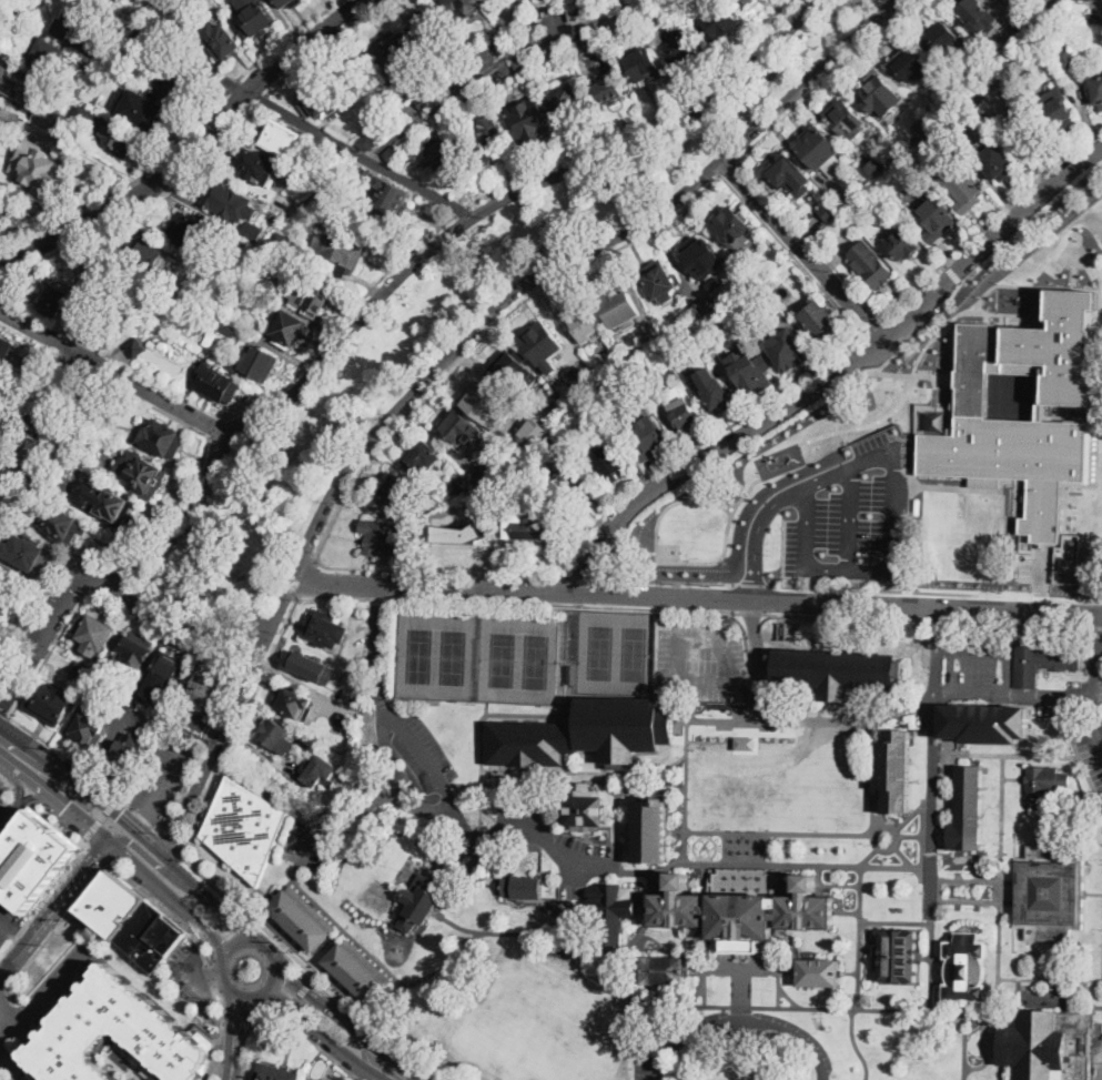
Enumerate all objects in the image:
building: (117, 0)
building: (1007, 0)
building: (1088, 0)
building: (172, 2)
building: (290, 2)
building: (745, 2)
park: (2, 3)
building: (680, 4)
building: (461, 8)
road: (16, 13)
building: (973, 14)
building: (654, 18)
building: (1095, 19)
building: (256, 20)
building: (719, 20)
building: (172, 22)
building: (1021, 22)
building: (532, 24)
building: (156, 26)
building: (429, 30)
building: (79, 33)
road: (285, 38)
building: (941, 39)
building: (222, 40)
road: (326, 44)
building: (501, 44)
building: (593, 46)
building: (680, 47)
building: (138, 48)
building: (560, 52)
building: (392, 55)
building: (1066, 55)
building: (47, 57)
building: (1047, 58)
building: (533, 60)
building: (907, 63)
road: (495, 64)
building: (643, 64)
building: (131, 65)
building: (523, 65)
building: (90, 68)
building: (984, 69)
road: (827, 78)
building: (994, 78)
road: (231, 82)
building: (20, 84)
building: (175, 84)
building: (609, 90)
building: (873, 90)
building: (1096, 90)
building: (94, 98)
road: (260, 99)
building: (324, 99)
building: (426, 100)
building: (1001, 100)
building: (566, 101)
building: (978, 101)
road: (276, 109)
building: (142, 110)
building: (936, 112)
building: (1056, 113)
building: (9, 117)
building: (44, 117)
building: (958, 119)
building: (528, 120)
building: (845, 120)
building: (94, 122)
road: (648, 123)
building: (922, 127)
building: (2, 133)
building: (487, 133)
building: (71, 135)
building: (933, 138)
building: (118, 139)
building: (282, 139)
building: (909, 139)
building: (368, 141)
road: (196, 151)
building: (822, 152)
building: (394, 154)
building: (444, 158)
building: (997, 162)
building: (336, 164)
building: (257, 165)
road: (731, 165)
building: (38, 168)
building: (876, 168)
building: (364, 175)
building: (789, 176)
road: (124, 183)
building: (317, 183)
building: (0, 189)
building: (963, 189)
building: (391, 198)
building: (847, 200)
building: (229, 201)
building: (281, 201)
building: (291, 208)
road: (464, 209)
road: (138, 210)
building: (3, 211)
building: (830, 211)
building: (937, 219)
road: (988, 221)
building: (731, 229)
building: (189, 231)
building: (253, 232)
road: (811, 239)
building: (282, 242)
building: (901, 244)
road: (803, 248)
building: (342, 250)
road: (793, 255)
building: (153, 256)
road: (417, 260)
building: (702, 260)
road: (564, 261)
building: (219, 263)
building: (871, 264)
road: (953, 271)
building: (101, 279)
building: (659, 282)
building: (783, 293)
building: (309, 296)
building: (54, 301)
building: (232, 302)
building: (711, 303)
building: (620, 307)
building: (731, 307)
building: (704, 309)
building: (696, 313)
road: (341, 320)
building: (584, 323)
building: (820, 323)
building: (225, 327)
building: (290, 327)
road: (873, 327)
building: (99, 330)
road: (919, 331)
road: (892, 333)
building: (651, 339)
park: (437, 340)
building: (209, 341)
building: (151, 343)
building: (544, 346)
building: (789, 347)
building: (6, 349)
building: (131, 350)
building: (255, 364)
building: (513, 371)
road: (111, 372)
building: (750, 372)
building: (595, 374)
road: (841, 374)
building: (575, 376)
building: (671, 376)
building: (218, 384)
building: (716, 391)
building: (593, 405)
building: (494, 407)
building: (564, 407)
road: (33, 411)
building: (52, 417)
building: (685, 417)
building: (998, 418)
road: (179, 420)
road: (214, 425)
road: (397, 426)
building: (456, 426)
building: (533, 432)
building: (649, 438)
building: (163, 440)
building: (552, 442)
road: (701, 442)
building: (425, 456)
building: (611, 463)
building: (141, 474)
building: (41, 476)
building: (478, 476)
road: (894, 477)
building: (462, 485)
building: (576, 485)
building: (400, 491)
building: (22, 499)
building: (104, 503)
building: (533, 523)
building: (61, 524)
building: (443, 525)
building: (461, 533)
building: (422, 536)
building: (385, 537)
road: (616, 546)
road: (108, 549)
building: (29, 553)
building: (1068, 559)
road: (306, 578)
road: (589, 578)
road: (855, 587)
road: (697, 597)
road: (282, 602)
road: (518, 603)
road: (751, 612)
building: (1, 618)
road: (932, 619)
road: (171, 622)
road: (168, 630)
building: (330, 632)
building: (97, 635)
road: (41, 636)
road: (265, 640)
building: (137, 652)
park: (600, 652)
road: (49, 653)
park: (634, 654)
park: (419, 655)
park: (453, 657)
parking lot: (702, 657)
road: (678, 658)
park: (503, 659)
park: (536, 660)
building: (1043, 662)
building: (311, 666)
parking lot: (973, 669)
building: (837, 672)
building: (82, 673)
building: (572, 673)
building: (165, 675)
road: (1007, 675)
building: (105, 677)
building: (211, 688)
building: (138, 697)
road: (1086, 698)
building: (294, 703)
building: (51, 704)
road: (4, 713)
road: (841, 713)
parking lot: (843, 716)
building: (198, 719)
building: (345, 720)
road: (240, 723)
building: (985, 723)
building: (90, 728)
building: (585, 734)
building: (274, 736)
road: (690, 738)
road: (218, 740)
road: (8, 748)
parking lot: (1091, 749)
road: (983, 755)
building: (128, 757)
road: (863, 769)
building: (897, 770)
road: (89, 771)
building: (320, 771)
road: (631, 771)
road: (1088, 774)
road: (437, 779)
road: (8, 780)
road: (392, 780)
building: (1045, 780)
road: (168, 781)
road: (21, 786)
road: (88, 793)
road: (619, 793)
road: (23, 794)
road: (30, 797)
road: (57, 801)
traffic signals: (64, 808)
road: (932, 808)
building: (584, 809)
building: (968, 809)
road: (8, 815)
traffic signals: (120, 815)
road: (102, 817)
road: (142, 821)
building: (245, 828)
building: (650, 832)
road: (617, 834)
road: (705, 834)
road: (910, 835)
road: (685, 836)
road: (709, 836)
road: (84, 840)
road: (724, 840)
road: (172, 842)
road: (897, 842)
road: (689, 847)
road: (719, 848)
road: (744, 848)
road: (755, 849)
road: (765, 849)
road: (159, 850)
road: (734, 850)
road: (742, 850)
road: (95, 854)
road: (724, 856)
building: (31, 858)
road: (869, 858)
road: (903, 858)
road: (152, 860)
road: (705, 860)
road: (654, 870)
road: (64, 871)
road: (921, 879)
road: (829, 885)
building: (524, 888)
road: (939, 890)
building: (1049, 892)
road: (168, 895)
road: (860, 899)
road: (211, 900)
building: (419, 902)
road: (233, 905)
road: (164, 906)
road: (53, 908)
building: (712, 915)
building: (302, 916)
road: (1000, 917)
building: (131, 920)
road: (218, 920)
road: (55, 926)
road: (931, 926)
road: (201, 938)
road: (241, 941)
road: (269, 950)
building: (899, 955)
road: (307, 969)
building: (358, 969)
road: (741, 969)
building: (666, 970)
building: (967, 970)
building: (819, 972)
parking lot: (189, 975)
road: (201, 975)
road: (211, 975)
road: (182, 976)
road: (273, 979)
road: (310, 980)
road: (52, 986)
road: (230, 986)
road: (3, 989)
road: (296, 997)
road: (314, 998)
road: (285, 1011)
road: (286, 1016)
road: (10, 1017)
road: (741, 1020)
road: (741, 1020)
road: (237, 1022)
road: (259, 1026)
road: (221, 1031)
road: (231, 1031)
road: (324, 1033)
building: (120, 1034)
road: (242, 1036)
road: (10, 1041)
building: (1050, 1044)
road: (384, 1056)
road: (740, 1056)
road: (13, 1067)
building: (274, 1077)
road: (230, 1079)

